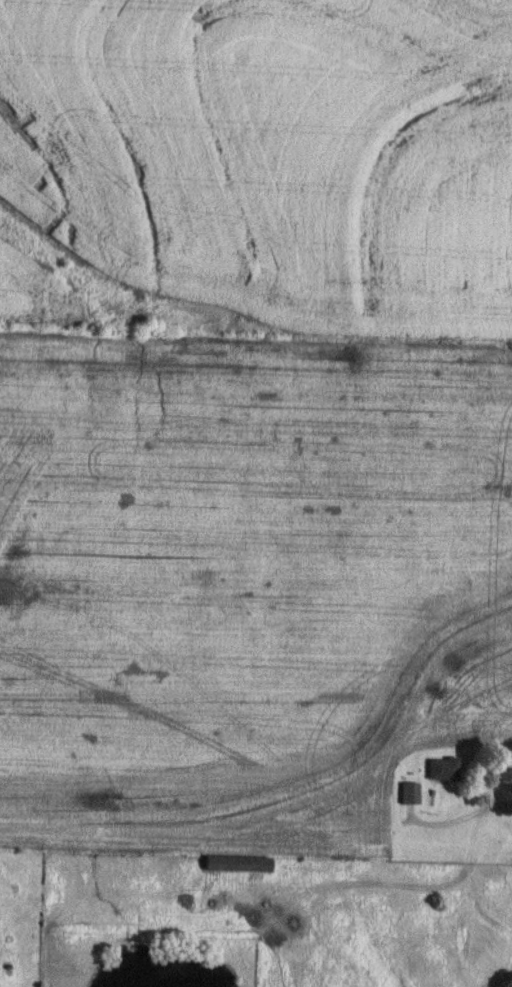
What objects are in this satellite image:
crop: (244, 585)
building: (442, 769)
building: (408, 794)
building: (236, 865)
road: (394, 883)

